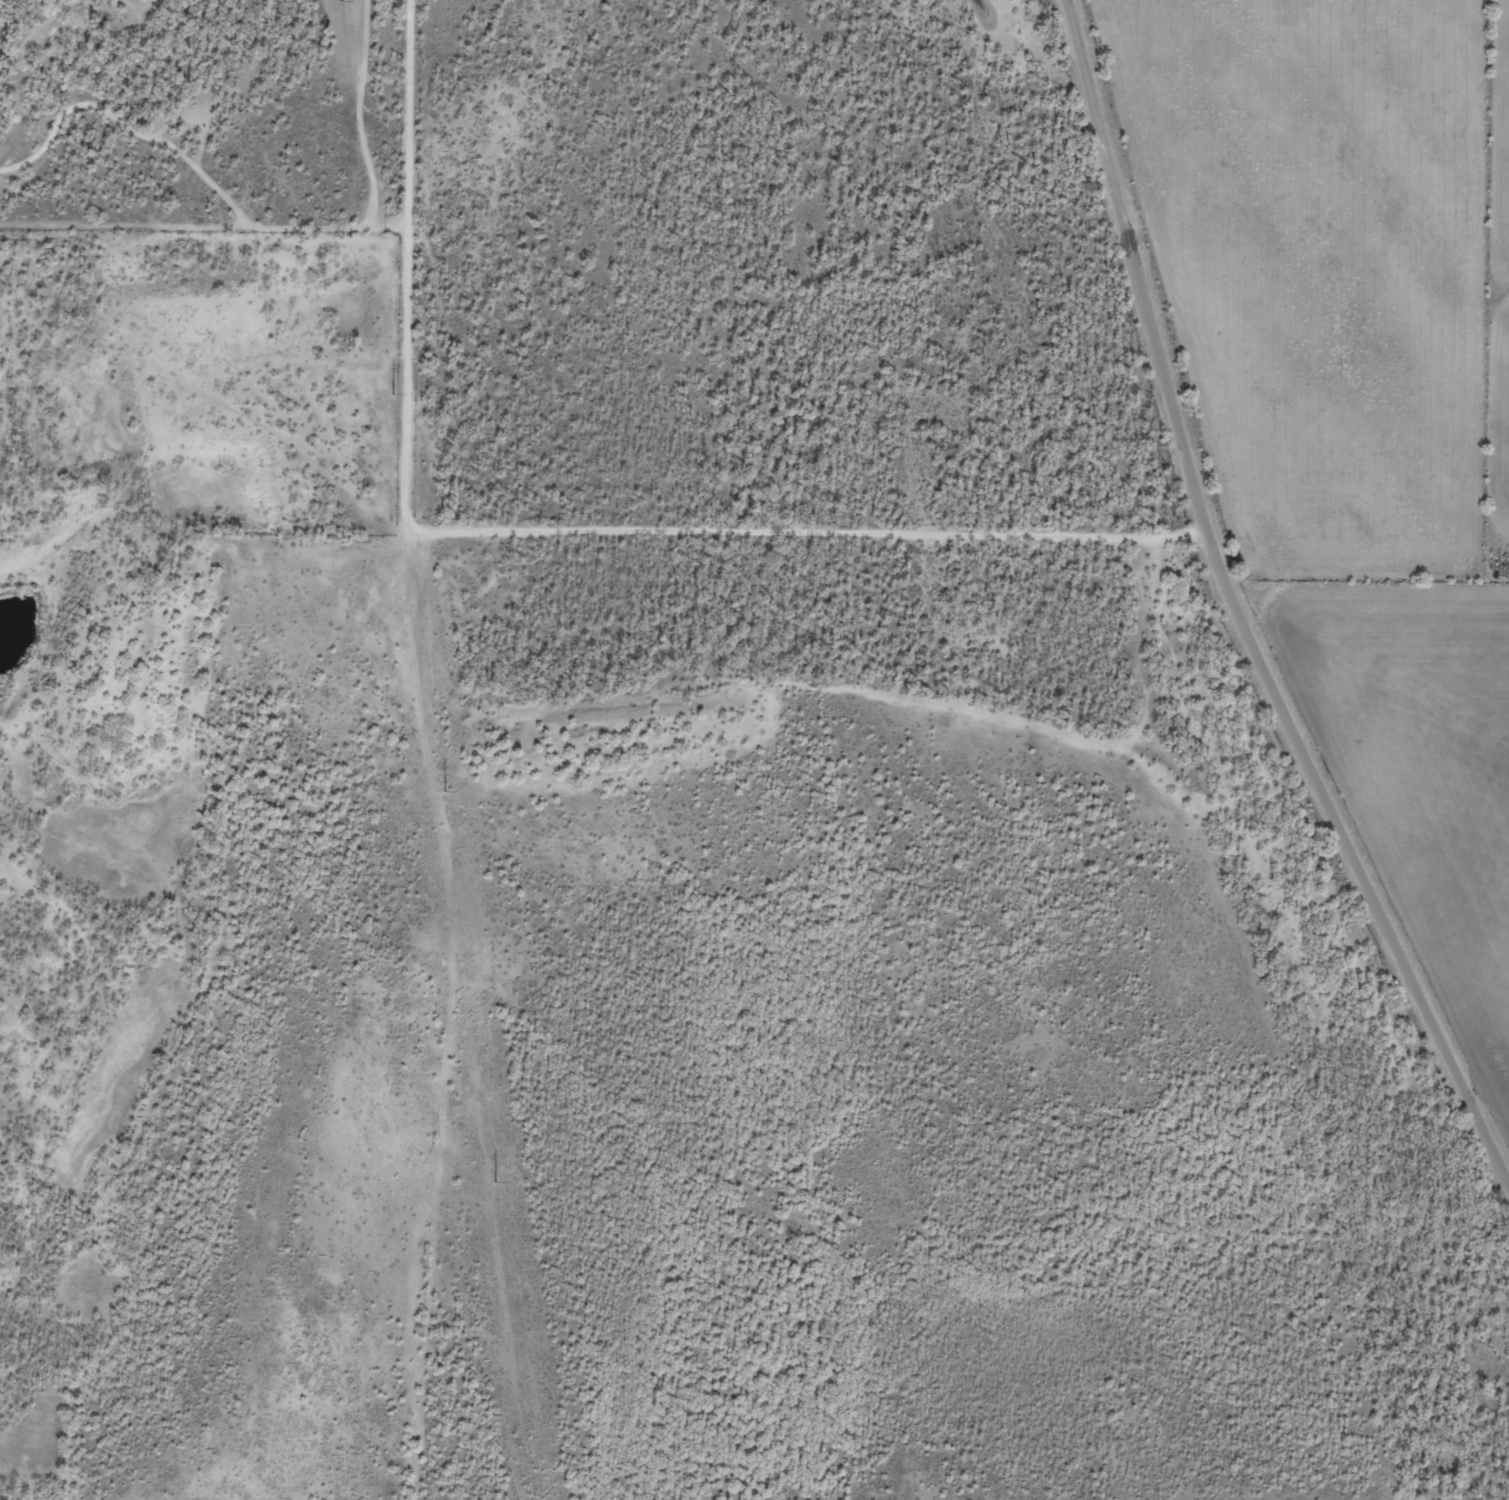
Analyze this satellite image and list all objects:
power tower: (342, 0)
power tower: (394, 393)
road: (791, 524)
road: (1227, 633)
road: (397, 749)
power tower: (445, 792)
power tower: (496, 1182)

